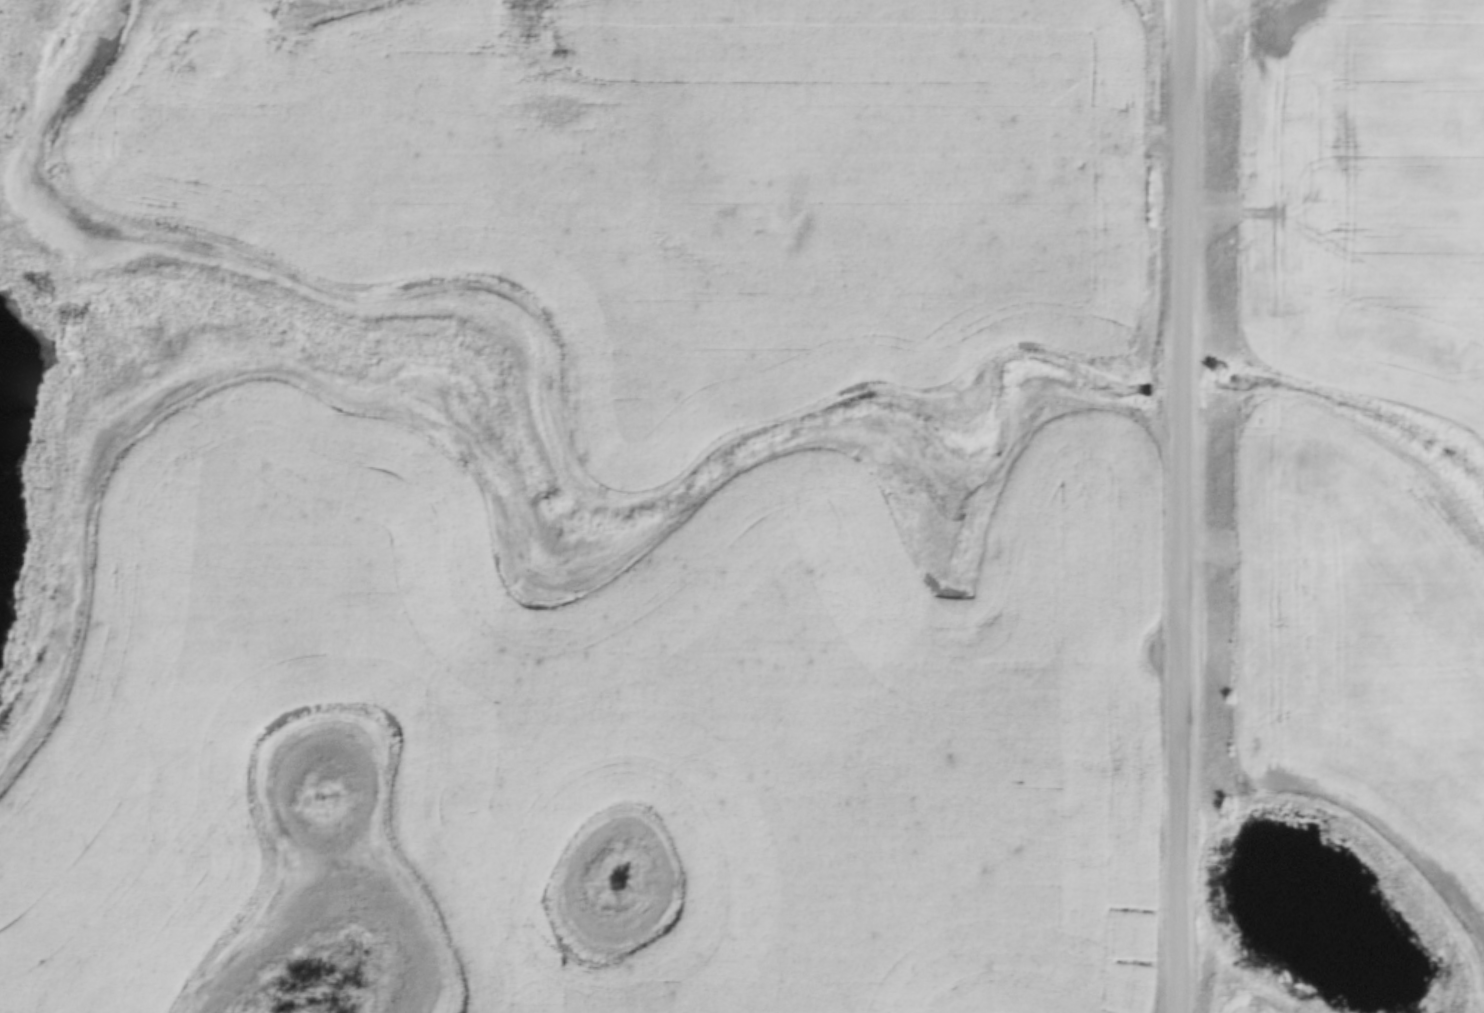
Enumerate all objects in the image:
road: (1189, 506)

